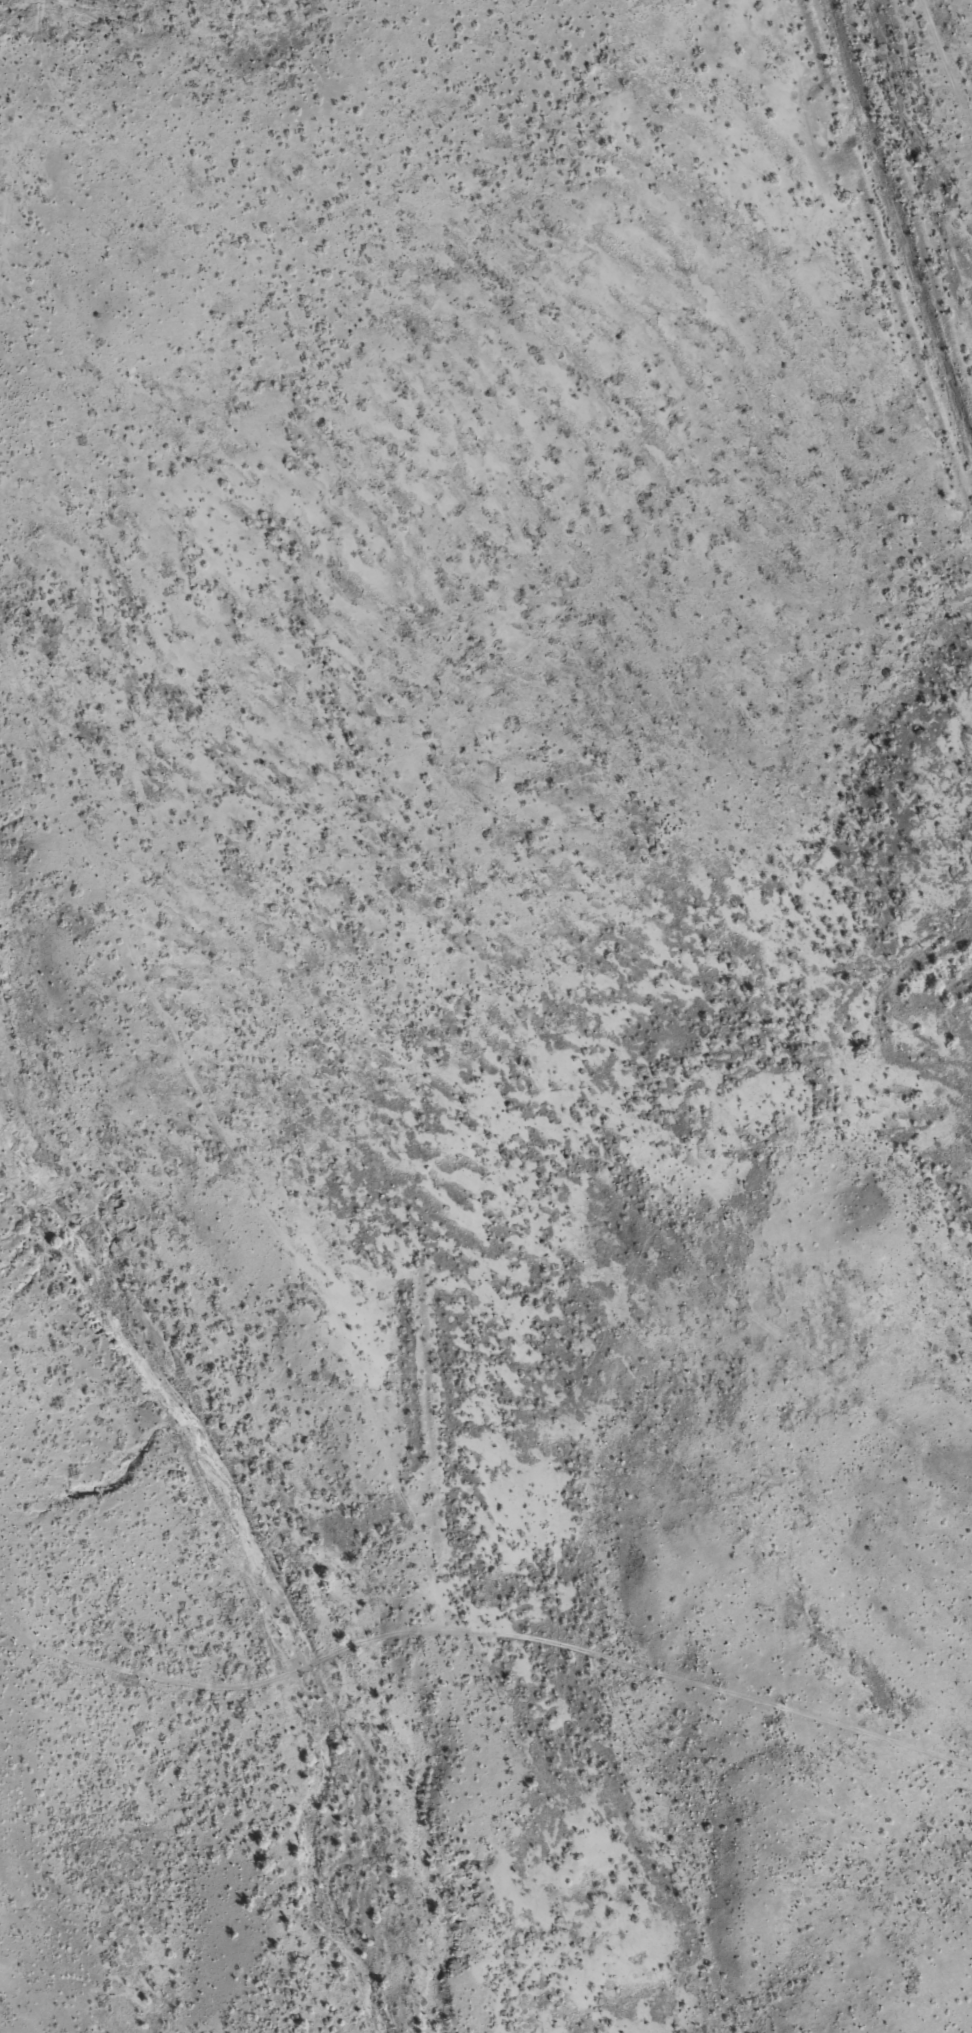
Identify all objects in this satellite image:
road: (950, 53)

